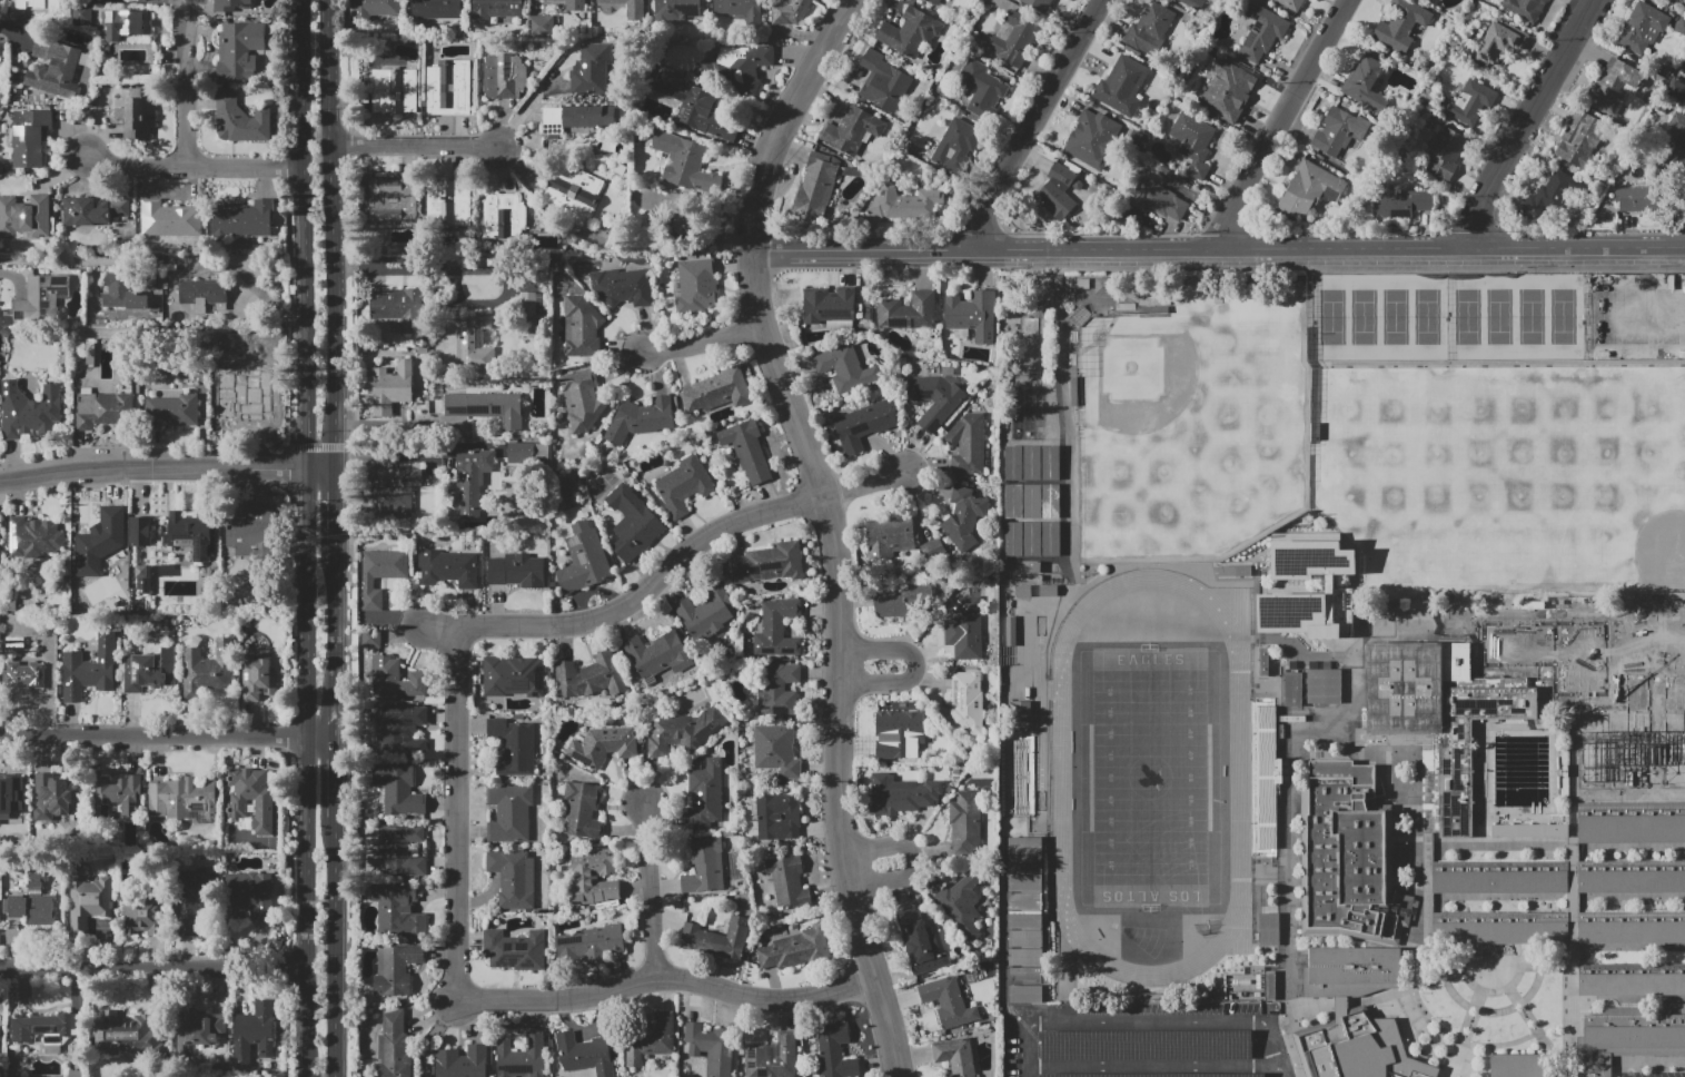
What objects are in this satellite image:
building: (934, 2)
building: (1192, 2)
building: (1291, 3)
building: (21, 4)
building: (231, 4)
building: (575, 4)
building: (618, 4)
building: (1039, 4)
road: (182, 8)
building: (1525, 8)
building: (374, 9)
building: (495, 9)
building: (677, 9)
building: (741, 9)
building: (437, 10)
building: (790, 11)
building: (82, 13)
building: (126, 24)
building: (1401, 24)
building: (541, 26)
building: (1643, 28)
building: (1149, 30)
building: (1261, 30)
building: (911, 32)
road: (11, 33)
building: (1014, 38)
building: (1499, 42)
building: (3, 49)
building: (238, 51)
building: (746, 65)
building: (592, 69)
building: (59, 76)
building: (503, 76)
building: (884, 82)
building: (1366, 85)
building: (1122, 86)
building: (1612, 86)
building: (448, 88)
building: (395, 90)
building: (981, 91)
road: (184, 93)
building: (1231, 97)
building: (1471, 103)
building: (696, 107)
road: (521, 111)
building: (137, 115)
building: (575, 118)
building: (240, 120)
road: (1277, 121)
road: (1529, 121)
road: (1035, 123)
building: (851, 130)
building: (1340, 131)
building: (29, 137)
building: (1091, 139)
building: (1579, 141)
building: (1193, 142)
building: (1675, 144)
building: (957, 146)
road: (414, 149)
building: (1445, 152)
building: (684, 162)
road: (191, 166)
building: (1169, 175)
building: (1077, 185)
building: (815, 186)
building: (1307, 190)
building: (1554, 190)
road: (299, 191)
road: (329, 191)
building: (1058, 191)
building: (573, 194)
building: (391, 198)
building: (1634, 199)
building: (1158, 200)
building: (905, 202)
building: (449, 204)
building: (1399, 205)
building: (92, 210)
building: (504, 216)
building: (26, 218)
building: (170, 219)
building: (244, 219)
building: (593, 230)
road: (1217, 246)
road: (54, 259)
building: (623, 286)
road: (254, 287)
building: (695, 287)
building: (122, 292)
building: (206, 294)
building: (41, 298)
building: (529, 303)
building: (398, 307)
building: (829, 308)
building: (909, 312)
building: (972, 314)
park: (1499, 318)
building: (582, 327)
building: (475, 342)
road: (706, 342)
road: (1498, 363)
building: (845, 368)
building: (388, 388)
building: (718, 392)
building: (936, 398)
building: (582, 399)
building: (245, 405)
building: (487, 407)
building: (103, 409)
building: (29, 411)
building: (172, 411)
building: (641, 419)
building: (865, 423)
road: (305, 426)
road: (336, 426)
road: (399, 432)
park: (1189, 436)
building: (968, 444)
building: (749, 451)
building: (519, 452)
road: (151, 471)
road: (320, 471)
park: (1507, 476)
building: (472, 480)
building: (683, 485)
road: (864, 486)
building: (397, 491)
building: (1030, 498)
road: (337, 511)
building: (964, 517)
building: (633, 523)
road: (826, 524)
building: (140, 531)
building: (189, 532)
building: (251, 532)
building: (890, 536)
building: (34, 537)
building: (101, 544)
building: (932, 547)
building: (0, 557)
building: (584, 560)
building: (769, 563)
building: (447, 567)
building: (143, 571)
building: (516, 571)
building: (1233, 571)
building: (379, 574)
road: (1081, 586)
building: (142, 587)
building: (1049, 590)
building: (1339, 591)
road: (632, 596)
building: (892, 601)
road: (305, 606)
road: (1522, 610)
building: (1642, 612)
building: (705, 613)
building: (965, 628)
building: (777, 629)
building: (1652, 634)
building: (369, 639)
road: (337, 646)
building: (1550, 652)
building: (658, 654)
road: (1304, 654)
building: (1262, 661)
road: (913, 663)
building: (150, 669)
building: (208, 669)
building: (90, 670)
building: (1657, 672)
building: (259, 673)
building: (24, 675)
building: (514, 676)
building: (589, 676)
building: (395, 679)
building: (1324, 685)
road: (1359, 686)
building: (776, 688)
building: (1404, 688)
building: (1290, 689)
road: (1553, 700)
building: (967, 702)
building: (1021, 712)
building: (400, 729)
building: (683, 732)
building: (1635, 735)
building: (900, 738)
road: (151, 743)
road: (321, 743)
building: (603, 745)
building: (1470, 745)
building: (514, 747)
building: (776, 750)
road: (1239, 765)
track: (1239, 765)
building: (1022, 775)
track: (1149, 777)
park: (1150, 778)
road: (337, 781)
building: (399, 790)
building: (705, 793)
building: (900, 794)
road: (1629, 794)
building: (11, 796)
building: (54, 796)
building: (116, 797)
building: (251, 797)
building: (184, 800)
building: (583, 810)
building: (509, 812)
road: (457, 813)
building: (776, 817)
building: (965, 821)
road: (1573, 830)
road: (869, 849)
road: (1549, 849)
building: (400, 851)
building: (1351, 851)
road: (910, 856)
road: (1272, 860)
track: (1242, 861)
building: (705, 867)
building: (593, 877)
building: (1498, 877)
building: (1632, 877)
building: (513, 878)
building: (787, 880)
road: (878, 882)
road: (650, 889)
building: (250, 895)
building: (190, 897)
building: (32, 902)
road: (1549, 902)
building: (89, 903)
building: (962, 903)
road: (307, 909)
building: (398, 910)
building: (142, 912)
building: (1027, 921)
building: (1499, 927)
building: (1268, 928)
building: (1632, 928)
road: (1024, 929)
building: (720, 938)
building: (589, 942)
building: (918, 942)
road: (337, 948)
road: (1415, 948)
building: (796, 949)
building: (515, 950)
road: (1549, 951)
road: (1532, 964)
road: (153, 969)
building: (396, 970)
building: (1350, 970)
road: (1063, 977)
road: (666, 978)
building: (1632, 979)
road: (1382, 999)
building: (950, 1000)
road: (1500, 1011)
road: (1470, 1020)
road: (1528, 1020)
road: (1574, 1020)
road: (1118, 1021)
building: (46, 1029)
building: (198, 1030)
building: (256, 1032)
building: (125, 1034)
road: (429, 1035)
building: (1627, 1037)
building: (650, 1039)
parking lot: (1169, 1043)
building: (1146, 1045)
building: (394, 1047)
building: (1349, 1047)
building: (711, 1048)
road: (1277, 1048)
building: (835, 1050)
building: (583, 1054)
building: (521, 1056)
building: (772, 1057)
building: (955, 1057)
building: (463, 1061)
building: (13, 1063)
road: (1154, 1066)
building: (1518, 1066)
building: (1413, 1068)
building: (220, 1069)
building: (77, 1074)
parking lot: (1651, 1074)
building: (1157, 1075)

